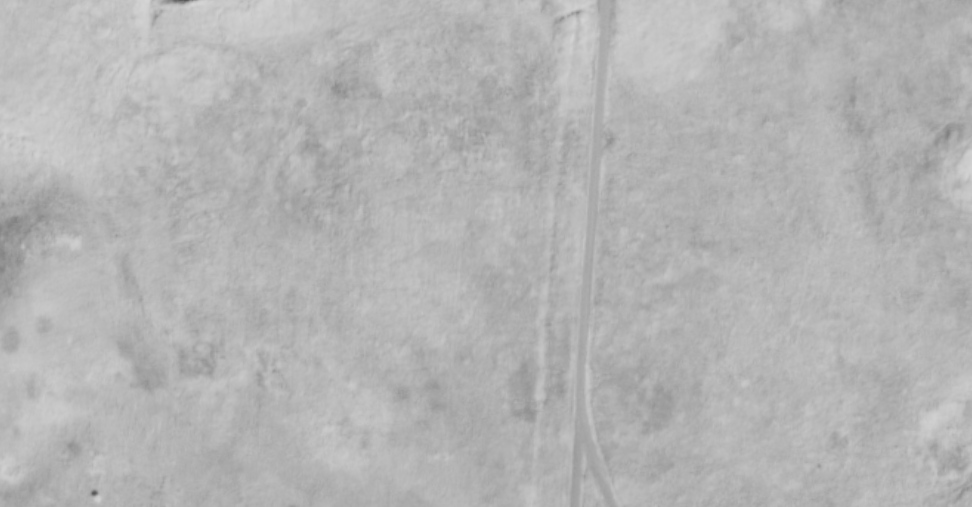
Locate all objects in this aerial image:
road: (589, 208)
road: (577, 419)

